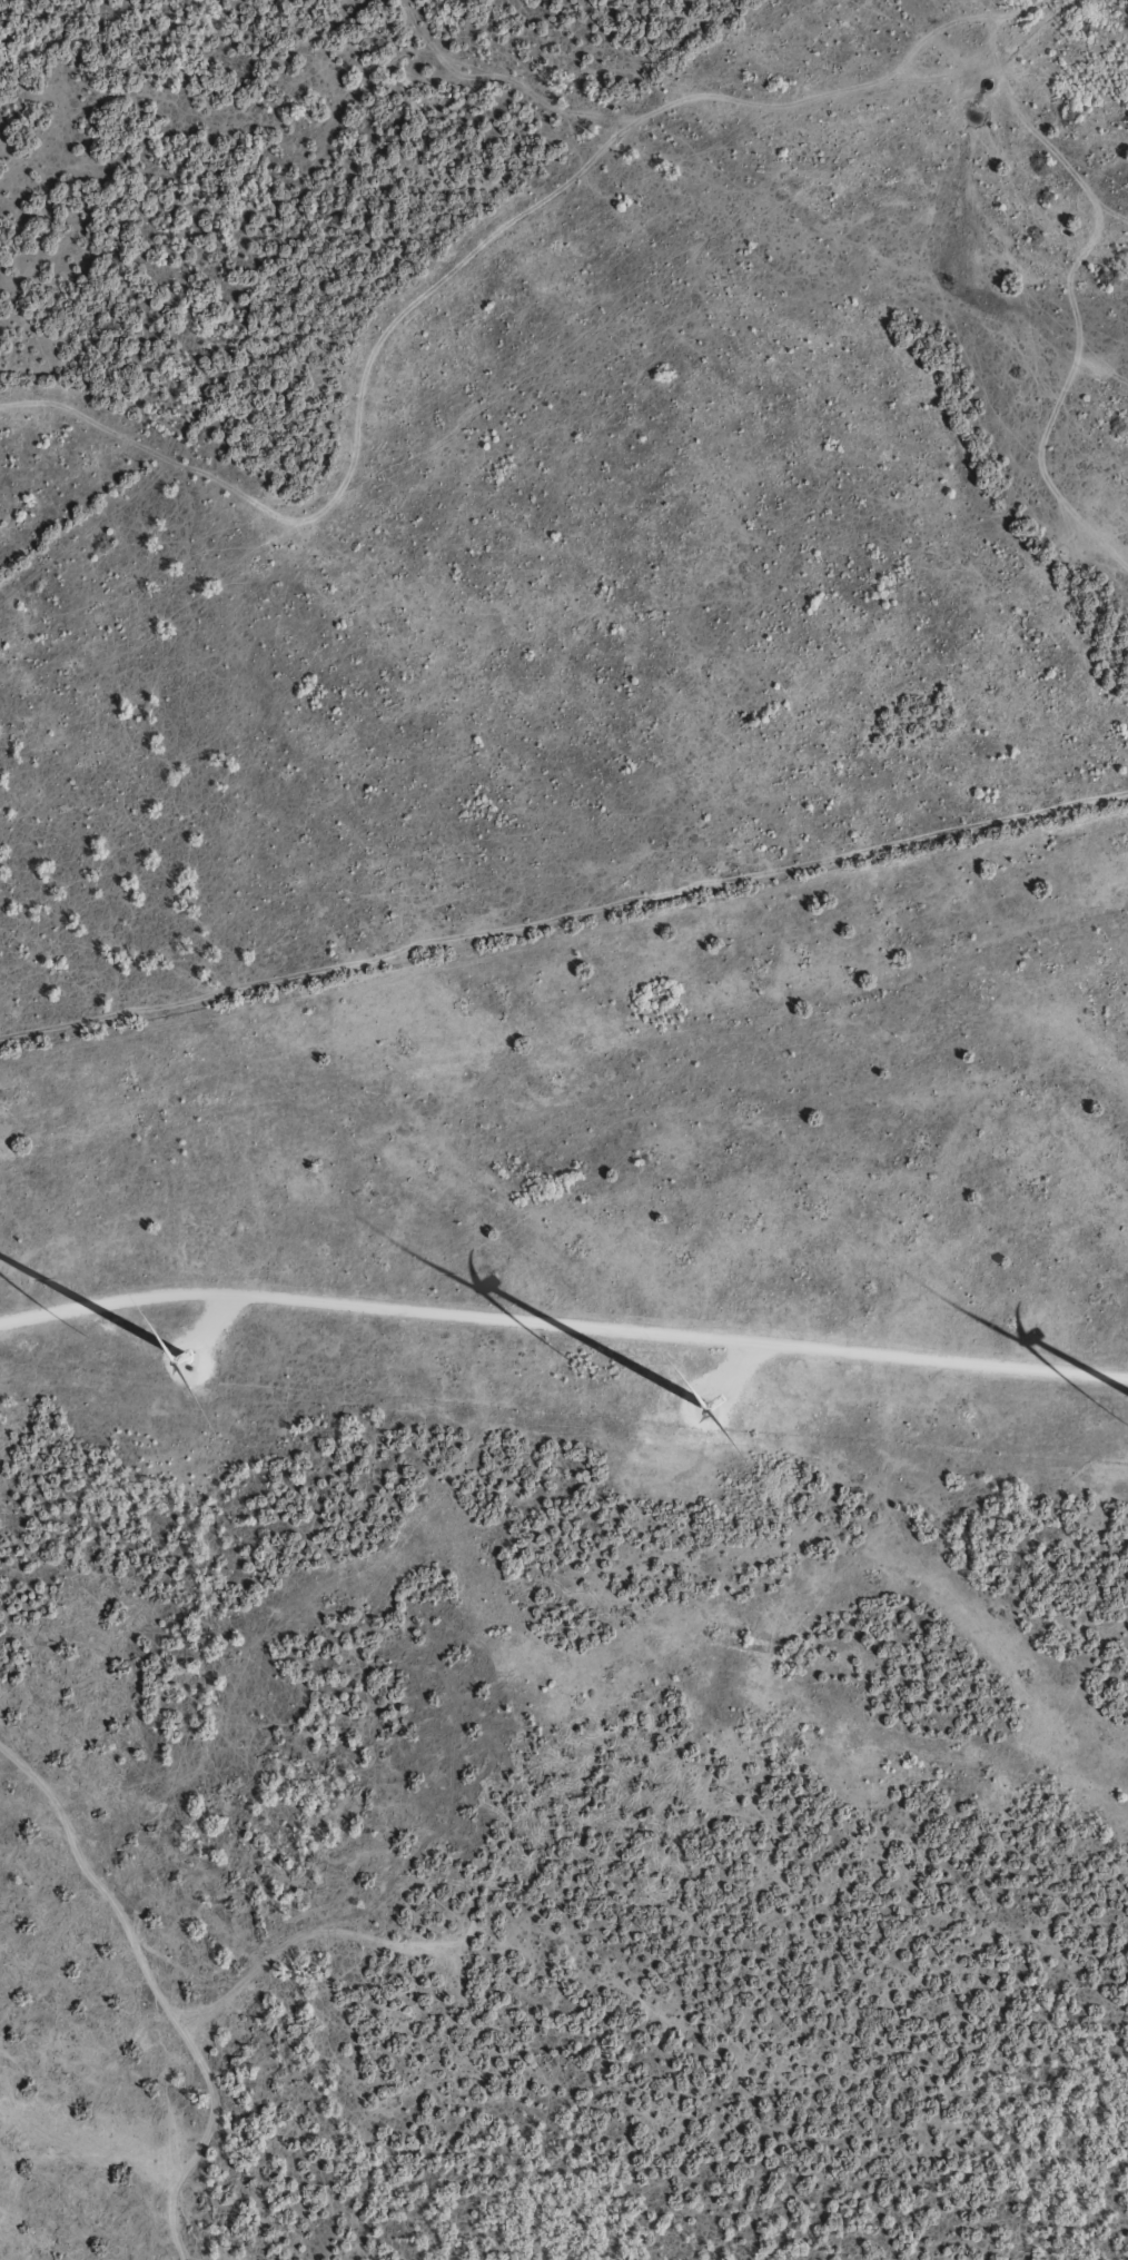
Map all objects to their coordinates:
road: (564, 1072)
road: (563, 1324)
wind turbine: (204, 1344)
wind turbine: (689, 1395)
road: (563, 1989)

